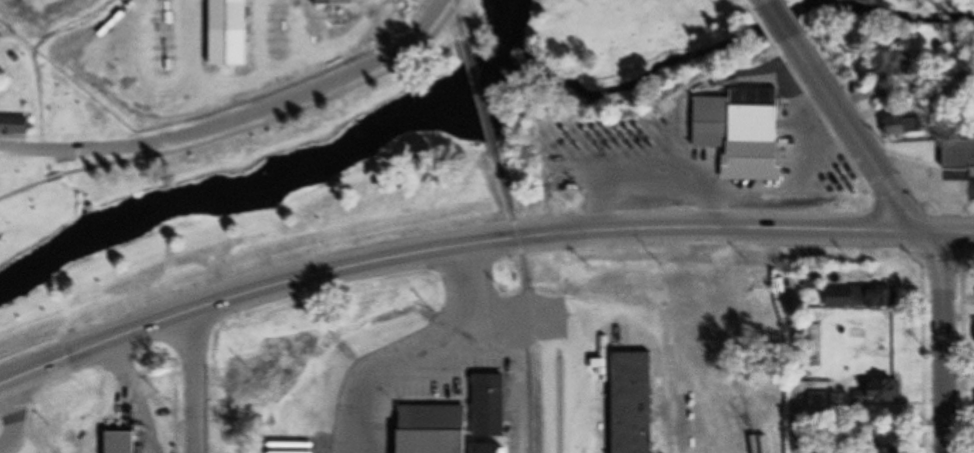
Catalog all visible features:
road: (767, 1)
building: (337, 2)
park: (896, 16)
railway: (460, 20)
road: (779, 20)
building: (233, 33)
river: (502, 38)
building: (153, 64)
building: (895, 64)
railway: (481, 96)
road: (239, 119)
building: (905, 124)
building: (16, 125)
road: (245, 129)
building: (746, 132)
park: (183, 133)
road: (857, 135)
building: (962, 154)
river: (249, 200)
road: (484, 242)
building: (862, 297)
railway: (530, 301)
road: (629, 314)
road: (943, 340)
road: (414, 343)
road: (789, 366)
road: (7, 380)
road: (198, 381)
road: (584, 382)
building: (885, 391)
building: (824, 402)
building: (637, 403)
railway: (569, 405)
road: (15, 417)
building: (463, 422)
building: (122, 442)
building: (899, 450)

